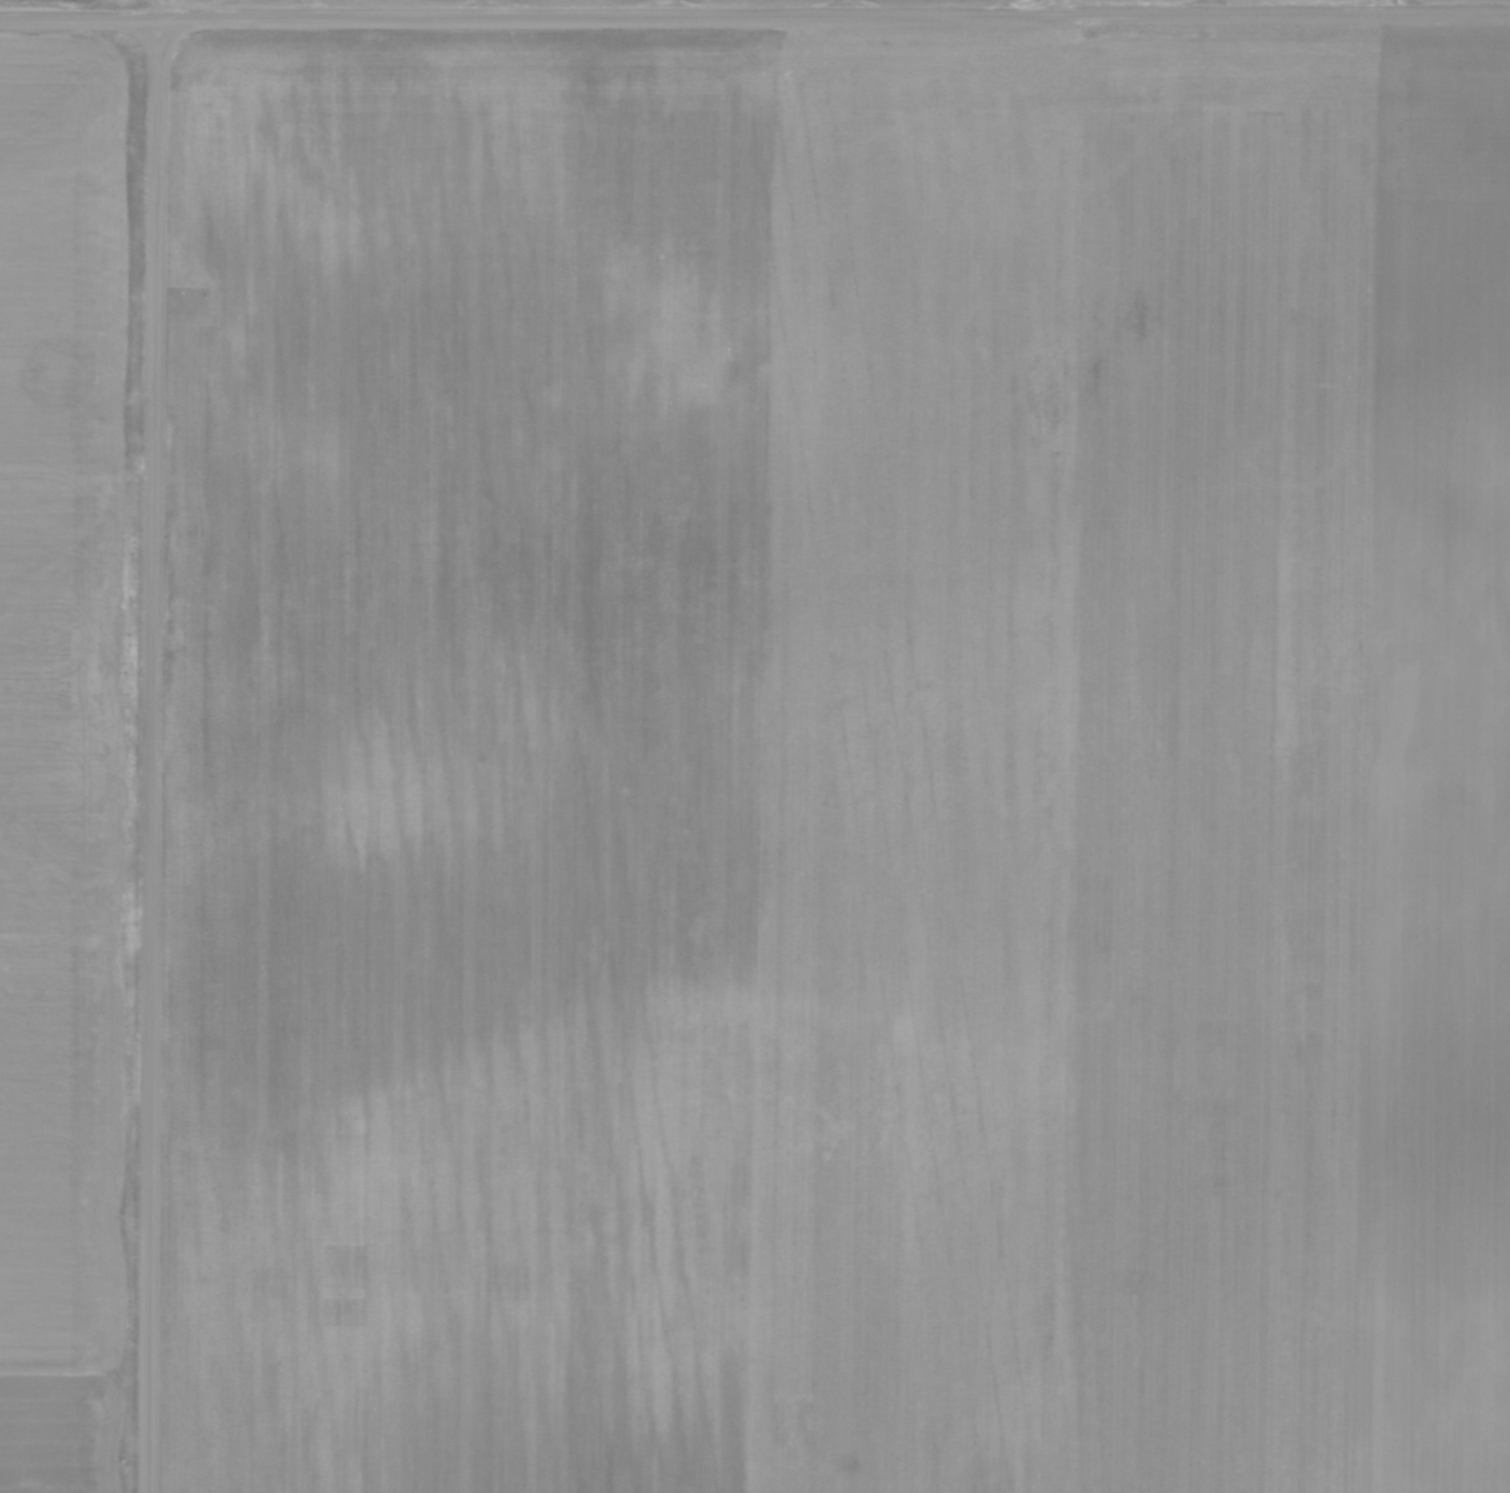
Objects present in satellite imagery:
crop: (45, 0)
road: (754, 15)
crop: (64, 749)
road: (153, 755)
crop: (837, 766)

